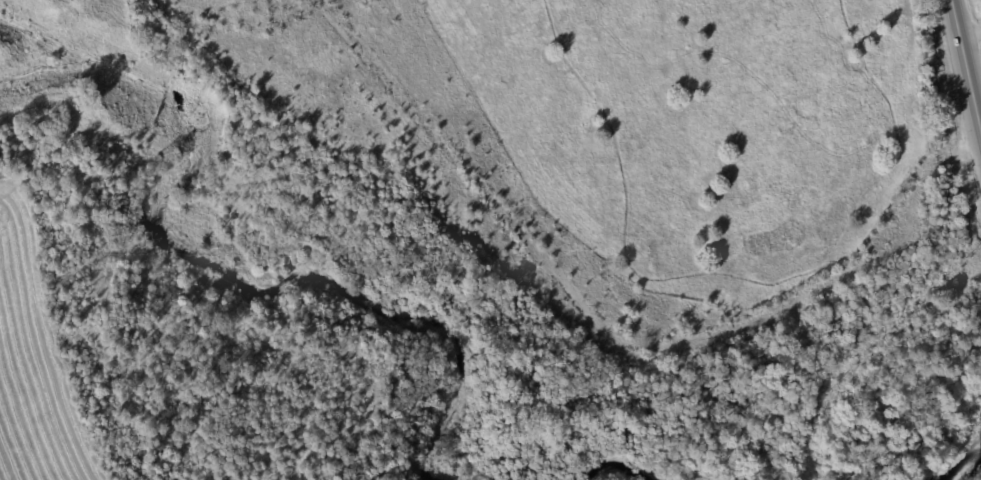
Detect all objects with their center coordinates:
road: (970, 33)
road: (966, 65)
airport: (482, 242)
river: (966, 459)

